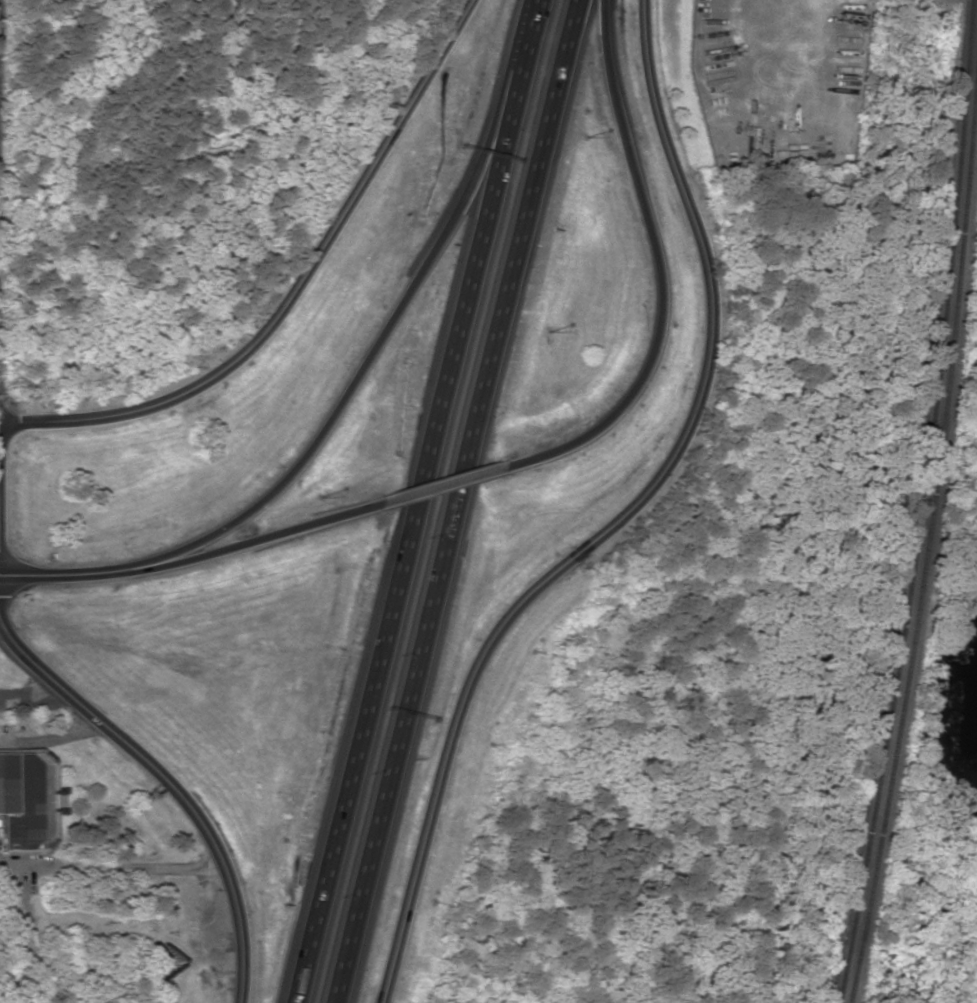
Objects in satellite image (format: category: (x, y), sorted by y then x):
road: (661, 266)
road: (293, 290)
road: (348, 378)
road: (438, 482)
road: (421, 501)
road: (451, 501)
railway: (921, 503)
road: (618, 519)
railway: (926, 524)
road: (238, 544)
road: (52, 574)
road: (52, 739)
road: (169, 785)
road: (111, 870)

